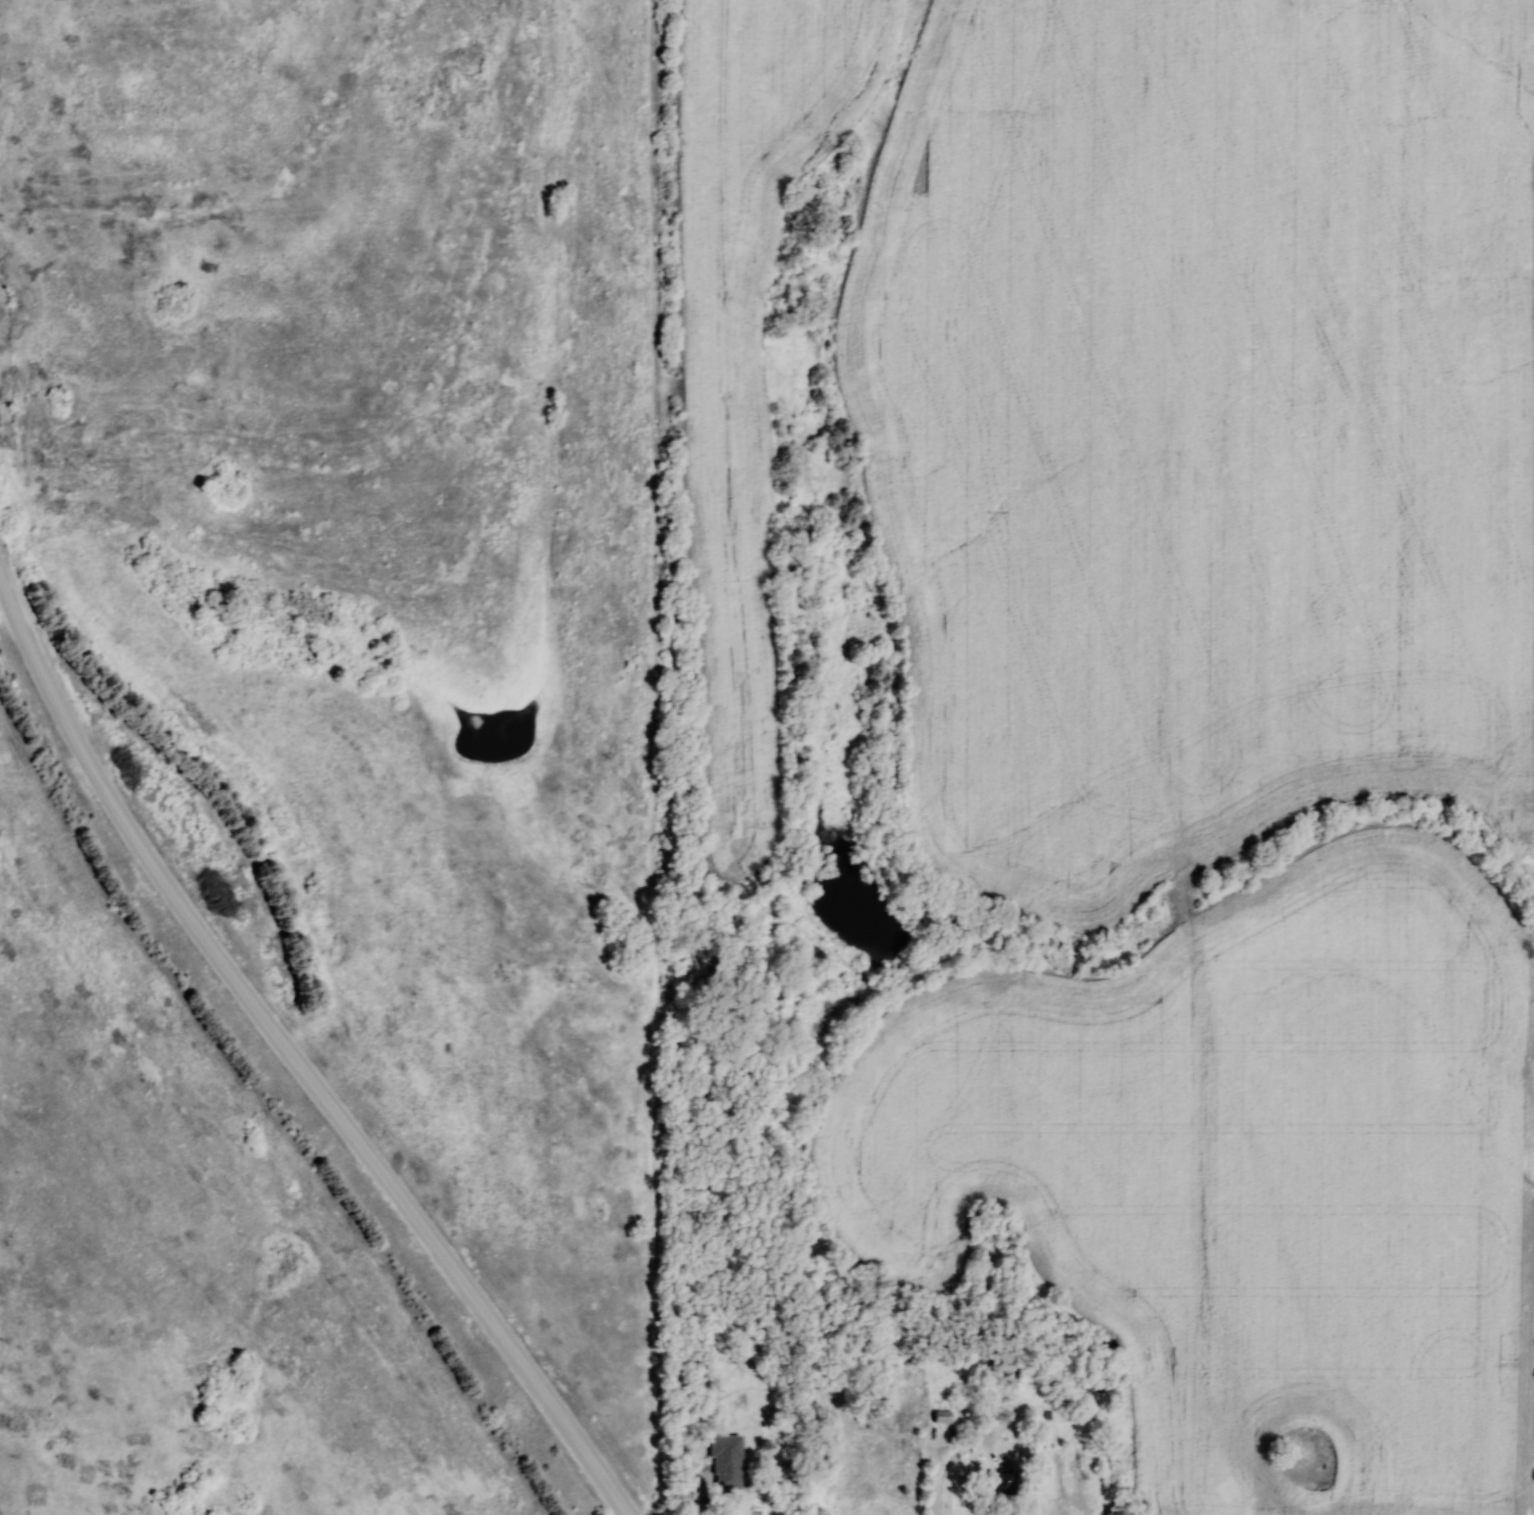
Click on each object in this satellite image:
road: (292, 1057)
building: (1095, 1384)
building: (943, 1417)
road: (948, 1458)
building: (729, 1462)
building: (1005, 1484)
road: (700, 1494)

